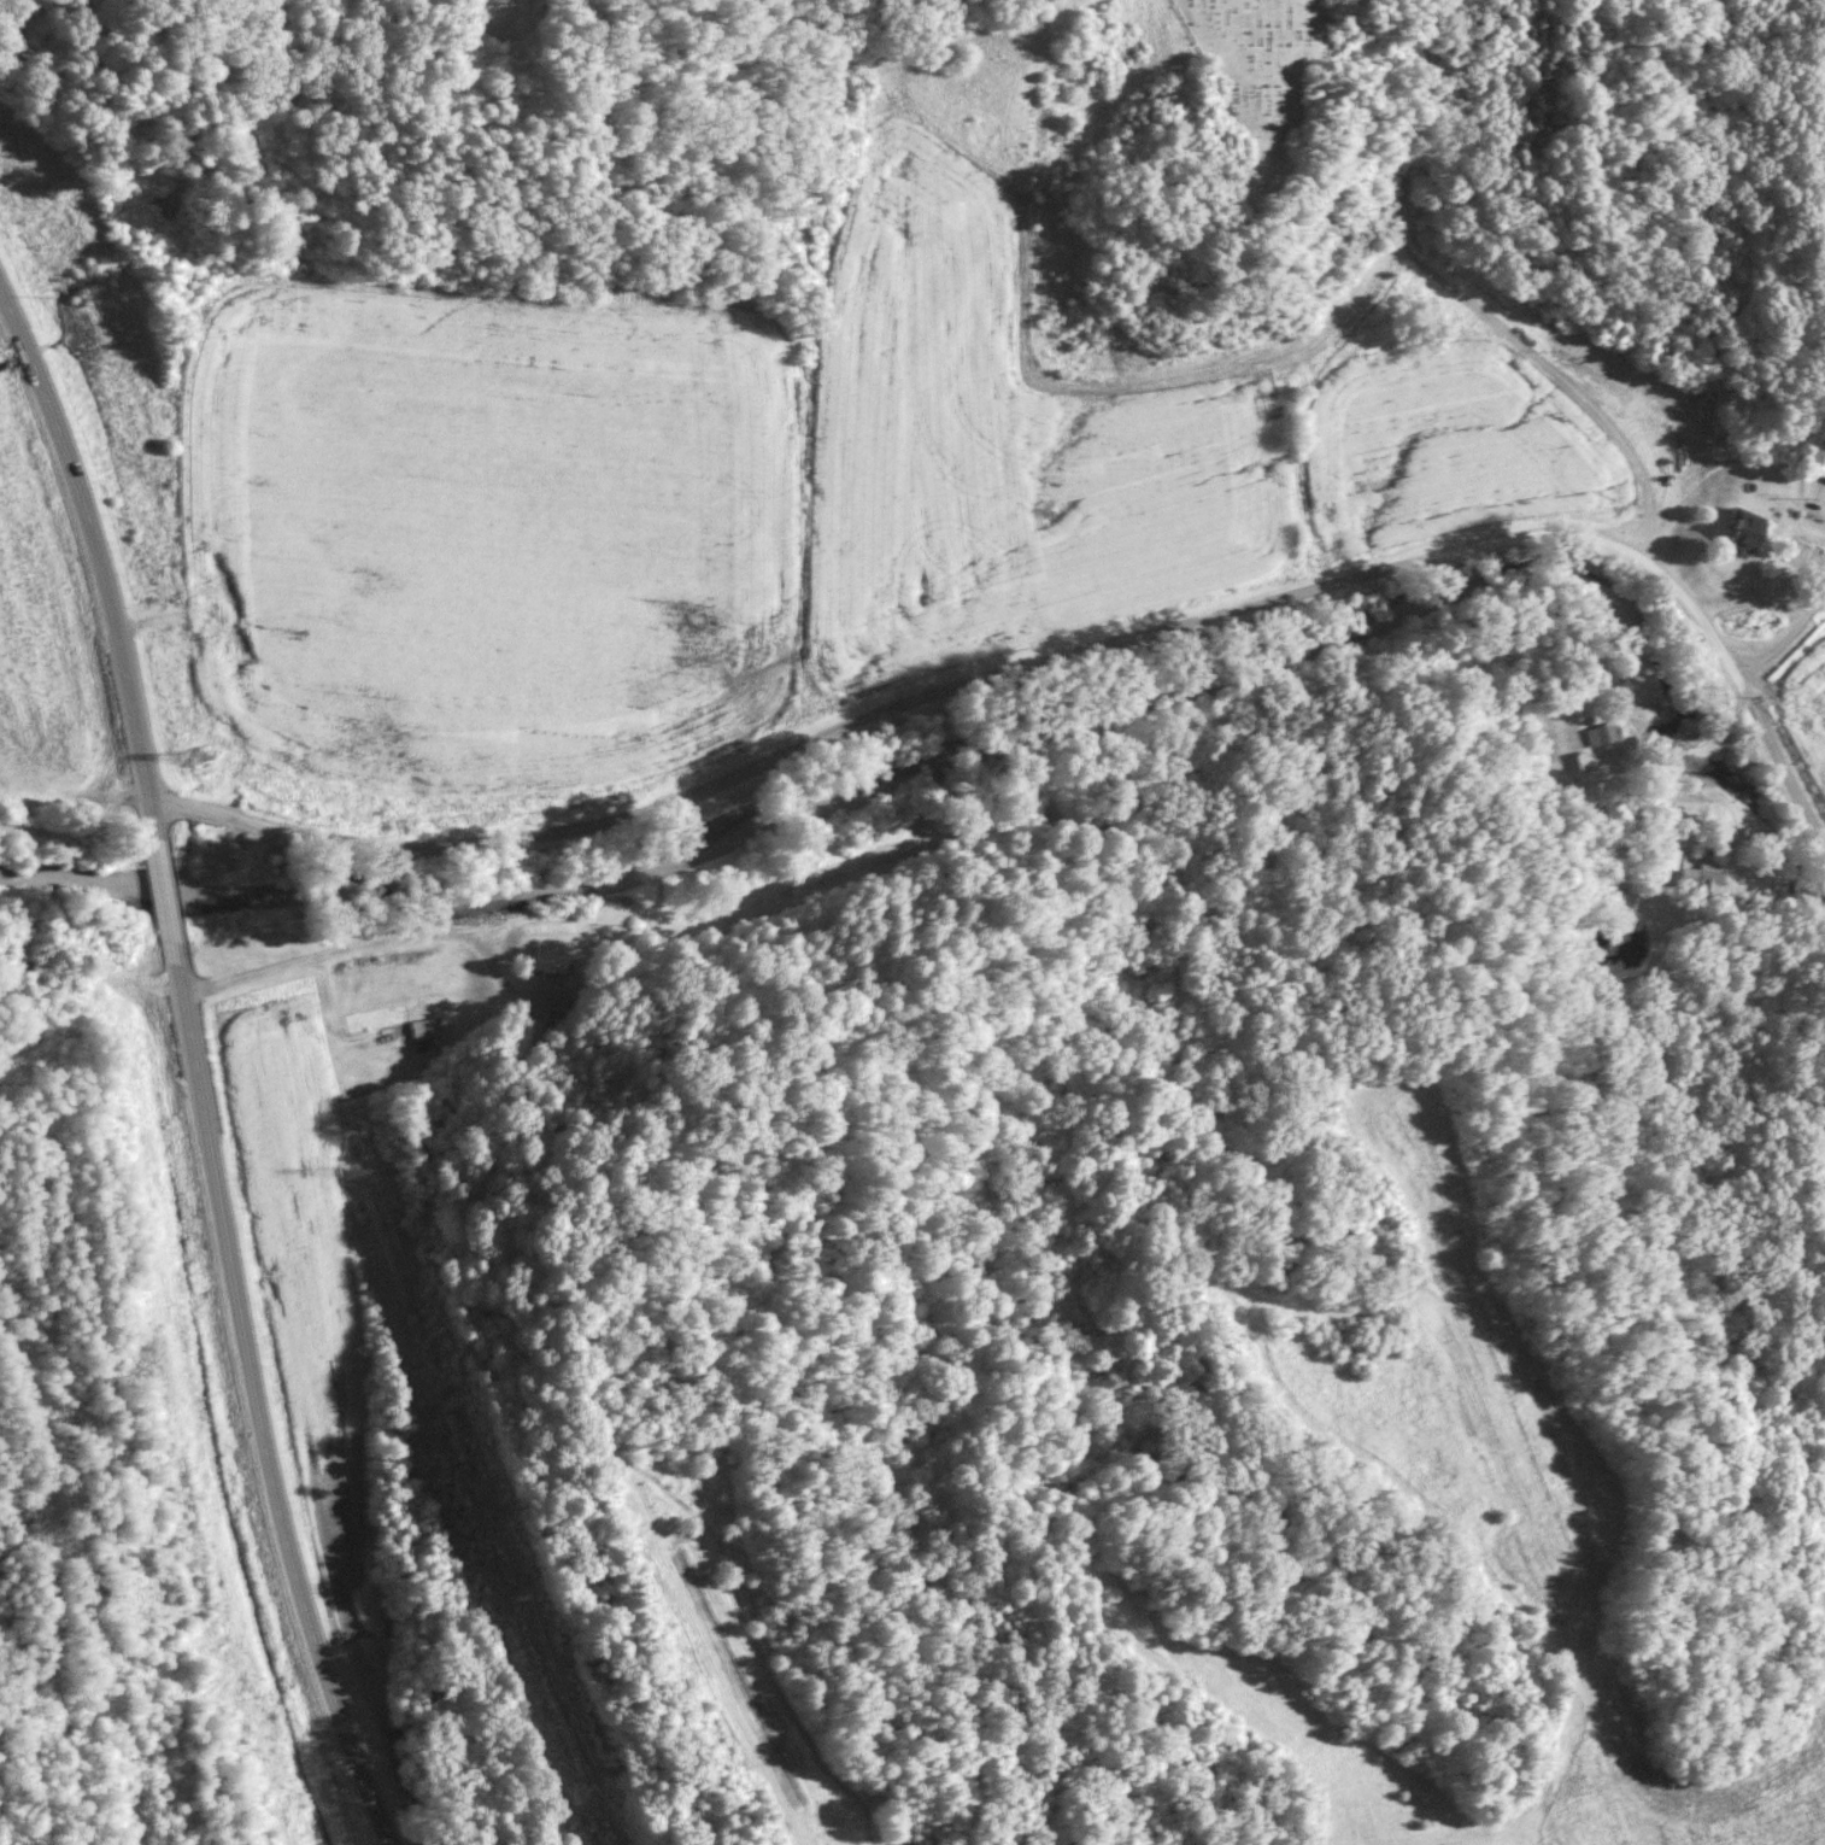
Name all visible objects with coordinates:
park: (1273, 78)
road: (1467, 295)
building: (1823, 470)
building: (1748, 529)
road: (1783, 638)
road: (1056, 655)
building: (1604, 732)
building: (1702, 875)
building: (552, 956)
building: (405, 1030)
road: (190, 1071)

